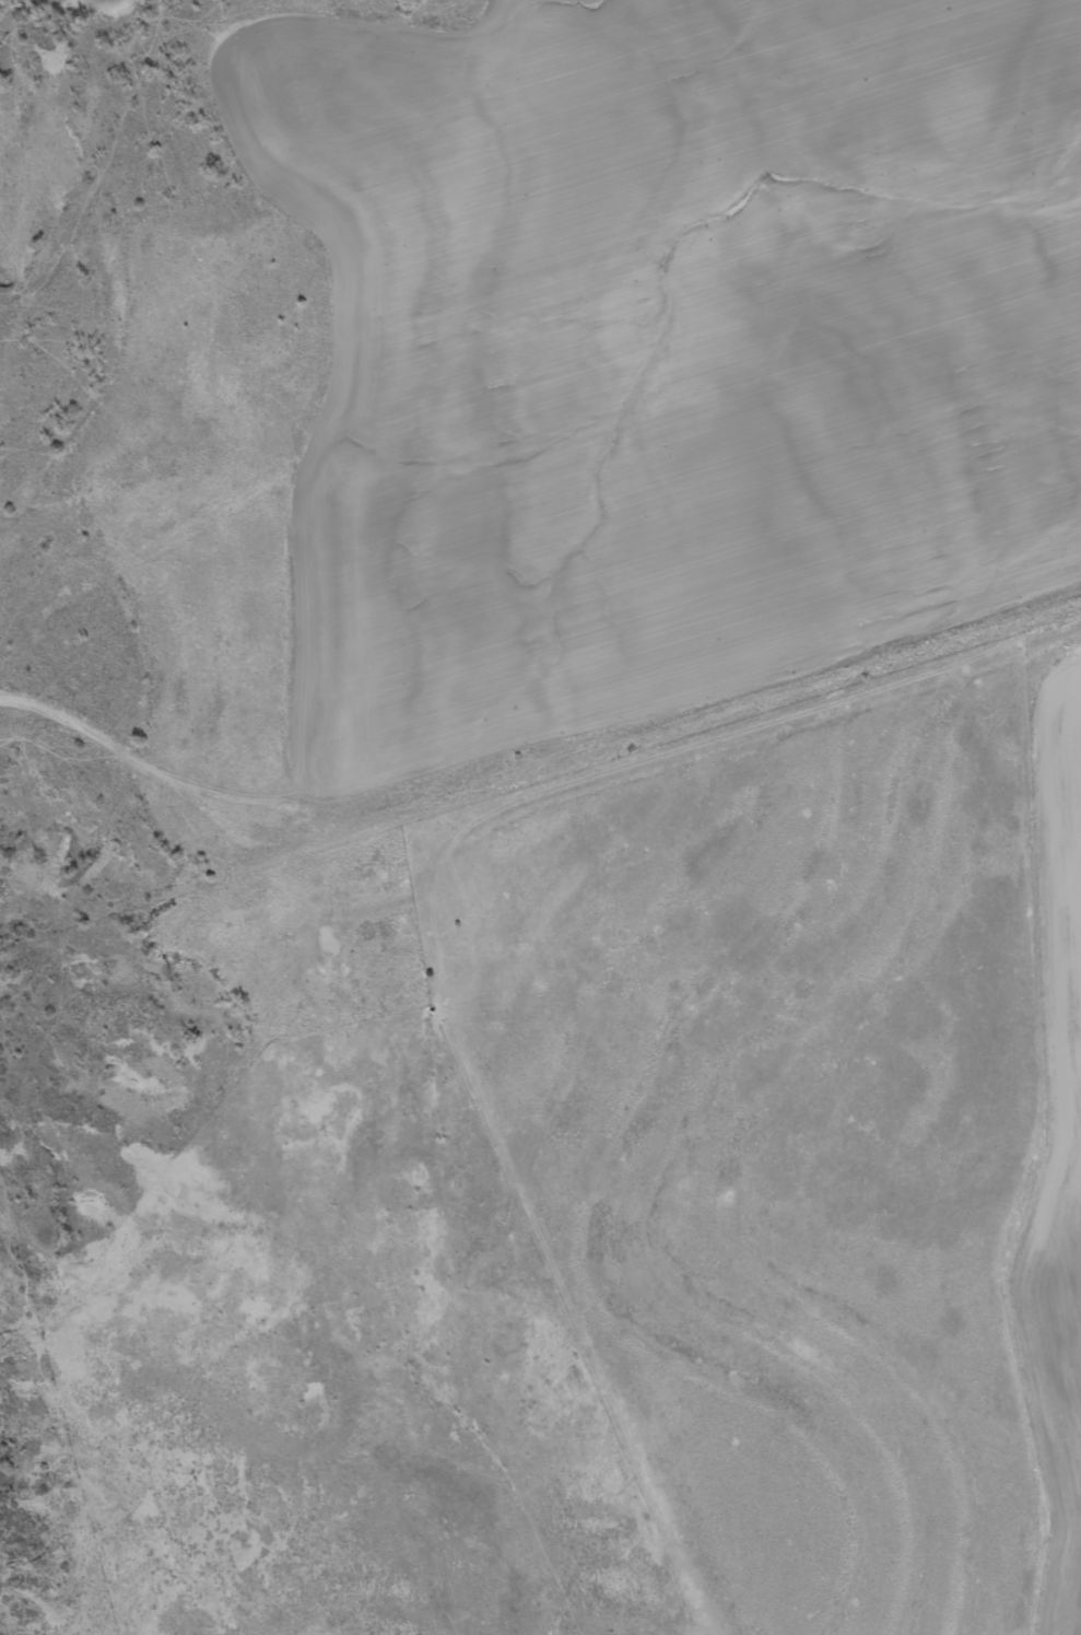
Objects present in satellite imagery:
road: (121, 114)
road: (526, 716)
road: (720, 745)
building: (386, 933)

